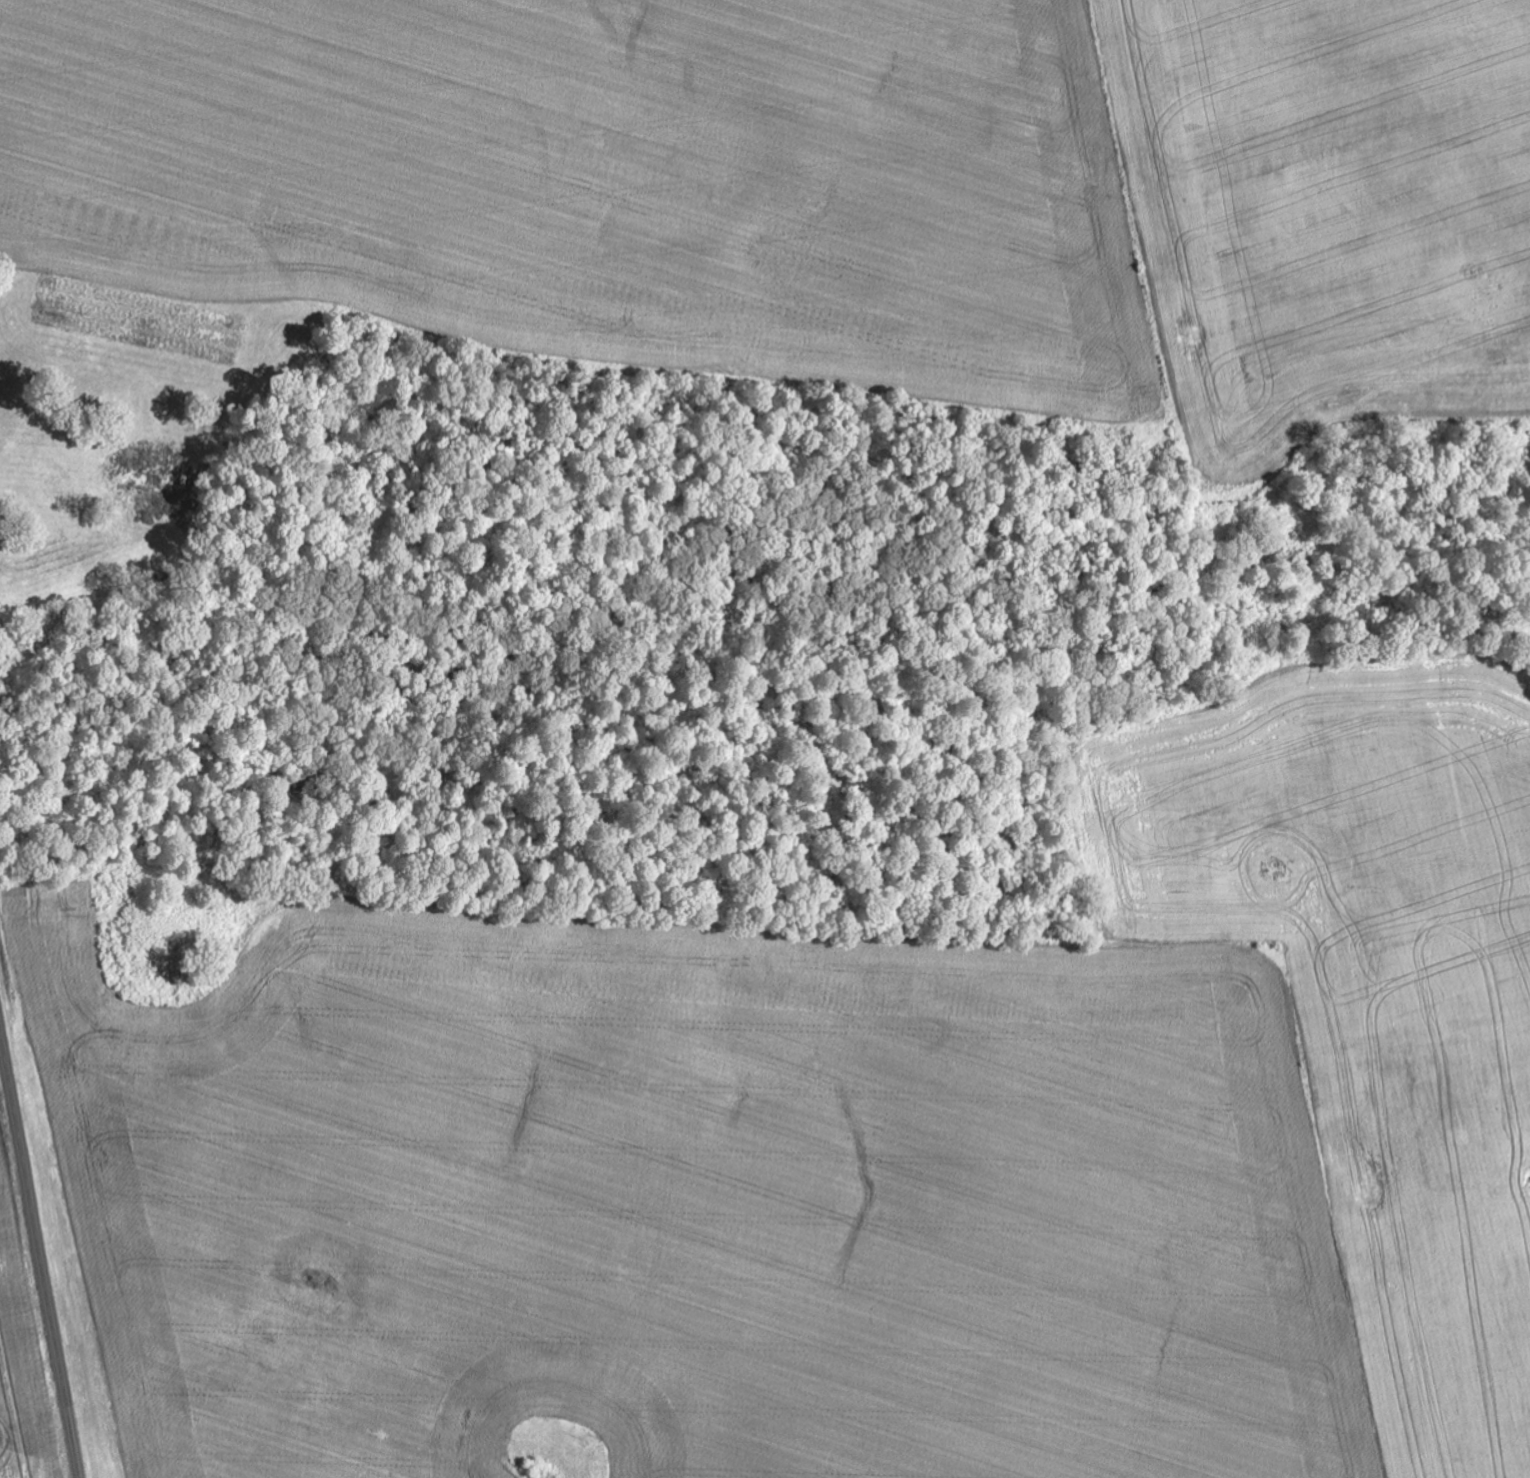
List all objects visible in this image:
road: (41, 1254)

